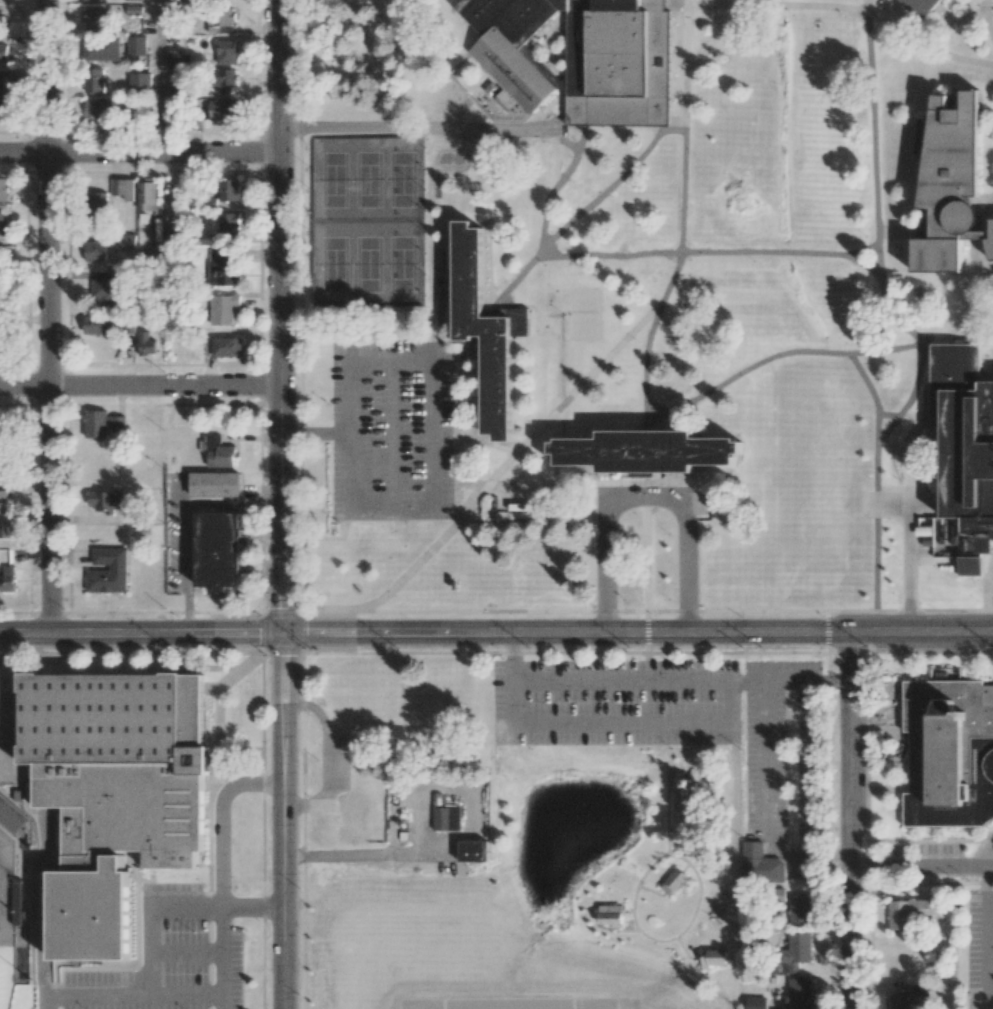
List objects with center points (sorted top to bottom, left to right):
building: (92, 0)
road: (695, 3)
road: (864, 7)
building: (919, 7)
road: (845, 9)
road: (946, 14)
building: (221, 17)
building: (93, 18)
road: (986, 19)
road: (952, 25)
building: (221, 29)
building: (512, 44)
building: (136, 45)
building: (102, 48)
building: (227, 52)
building: (3, 53)
building: (174, 57)
building: (617, 63)
road: (159, 77)
building: (226, 79)
building: (94, 80)
building: (140, 82)
building: (2, 96)
building: (505, 100)
building: (99, 109)
building: (222, 109)
road: (684, 126)
road: (414, 129)
road: (138, 154)
building: (950, 184)
road: (611, 186)
road: (553, 187)
building: (123, 188)
building: (3, 189)
building: (228, 190)
building: (208, 202)
road: (876, 221)
building: (228, 223)
building: (3, 224)
park: (365, 224)
road: (905, 229)
building: (165, 233)
road: (981, 237)
building: (127, 241)
building: (990, 246)
building: (96, 251)
road: (681, 252)
road: (863, 264)
building: (221, 268)
building: (1, 284)
building: (104, 293)
road: (985, 307)
building: (223, 309)
building: (1, 313)
road: (279, 316)
road: (52, 317)
building: (97, 325)
building: (488, 334)
road: (648, 341)
building: (146, 344)
building: (227, 346)
road: (775, 355)
road: (389, 363)
traffic signals: (53, 388)
road: (140, 388)
road: (872, 393)
building: (102, 423)
road: (451, 424)
parking lot: (390, 432)
road: (315, 435)
road: (392, 436)
road: (430, 436)
road: (348, 437)
road: (484, 442)
building: (966, 443)
building: (218, 453)
building: (649, 455)
road: (509, 459)
building: (2, 464)
building: (97, 474)
building: (215, 484)
road: (582, 484)
road: (645, 495)
building: (3, 501)
building: (104, 501)
road: (876, 502)
road: (390, 510)
building: (6, 528)
road: (910, 539)
building: (218, 550)
road: (645, 555)
building: (107, 571)
building: (7, 579)
road: (265, 593)
road: (329, 611)
road: (590, 611)
road: (191, 613)
road: (304, 613)
road: (285, 615)
road: (302, 632)
road: (266, 633)
traffic signals: (283, 633)
road: (444, 633)
road: (799, 633)
road: (141, 634)
road: (286, 650)
road: (134, 652)
road: (513, 656)
road: (646, 656)
road: (264, 665)
road: (1, 671)
road: (661, 680)
road: (829, 681)
building: (113, 718)
road: (620, 724)
parking lot: (688, 727)
building: (948, 754)
road: (331, 761)
road: (668, 778)
building: (687, 796)
building: (129, 812)
road: (283, 821)
road: (848, 821)
road: (221, 822)
building: (446, 822)
building: (470, 855)
road: (362, 858)
road: (991, 858)
building: (760, 864)
road: (799, 864)
road: (920, 866)
park: (624, 870)
building: (674, 880)
road: (652, 890)
building: (17, 903)
road: (254, 910)
park: (13, 911)
building: (800, 911)
building: (911, 912)
building: (91, 913)
building: (611, 913)
road: (151, 915)
road: (627, 929)
road: (990, 937)
park: (12, 939)
road: (664, 940)
parking lot: (980, 947)
road: (684, 949)
building: (793, 953)
road: (188, 954)
building: (713, 957)
parking lot: (164, 958)
road: (225, 960)
building: (799, 993)
road: (137, 996)
building: (898, 1001)
road: (48, 1002)
building: (755, 1003)
road: (991, 1004)

